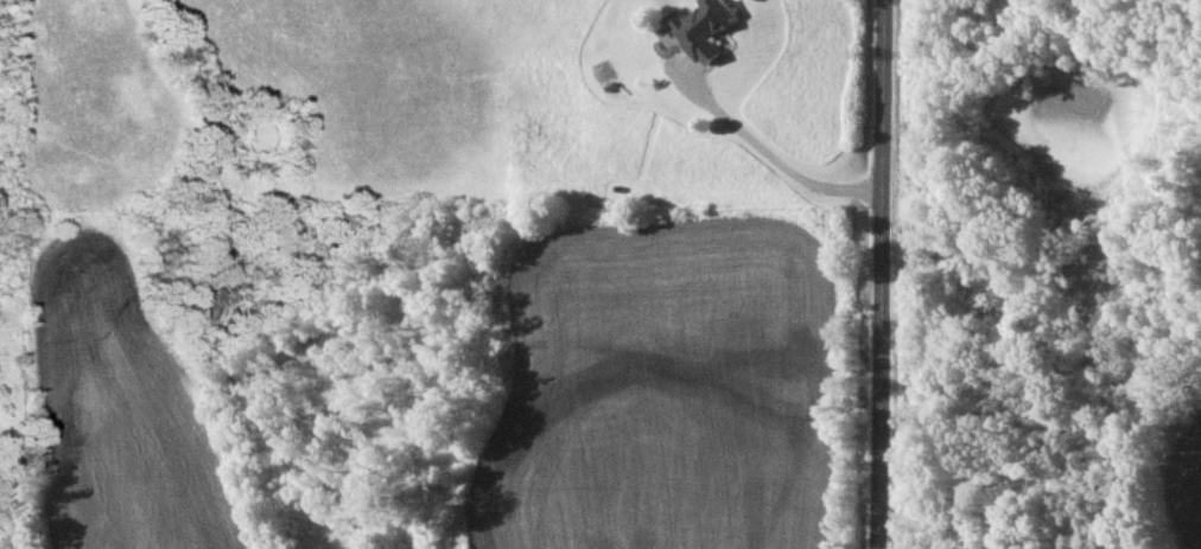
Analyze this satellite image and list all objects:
building: (705, 27)
road: (769, 154)
road: (881, 274)

